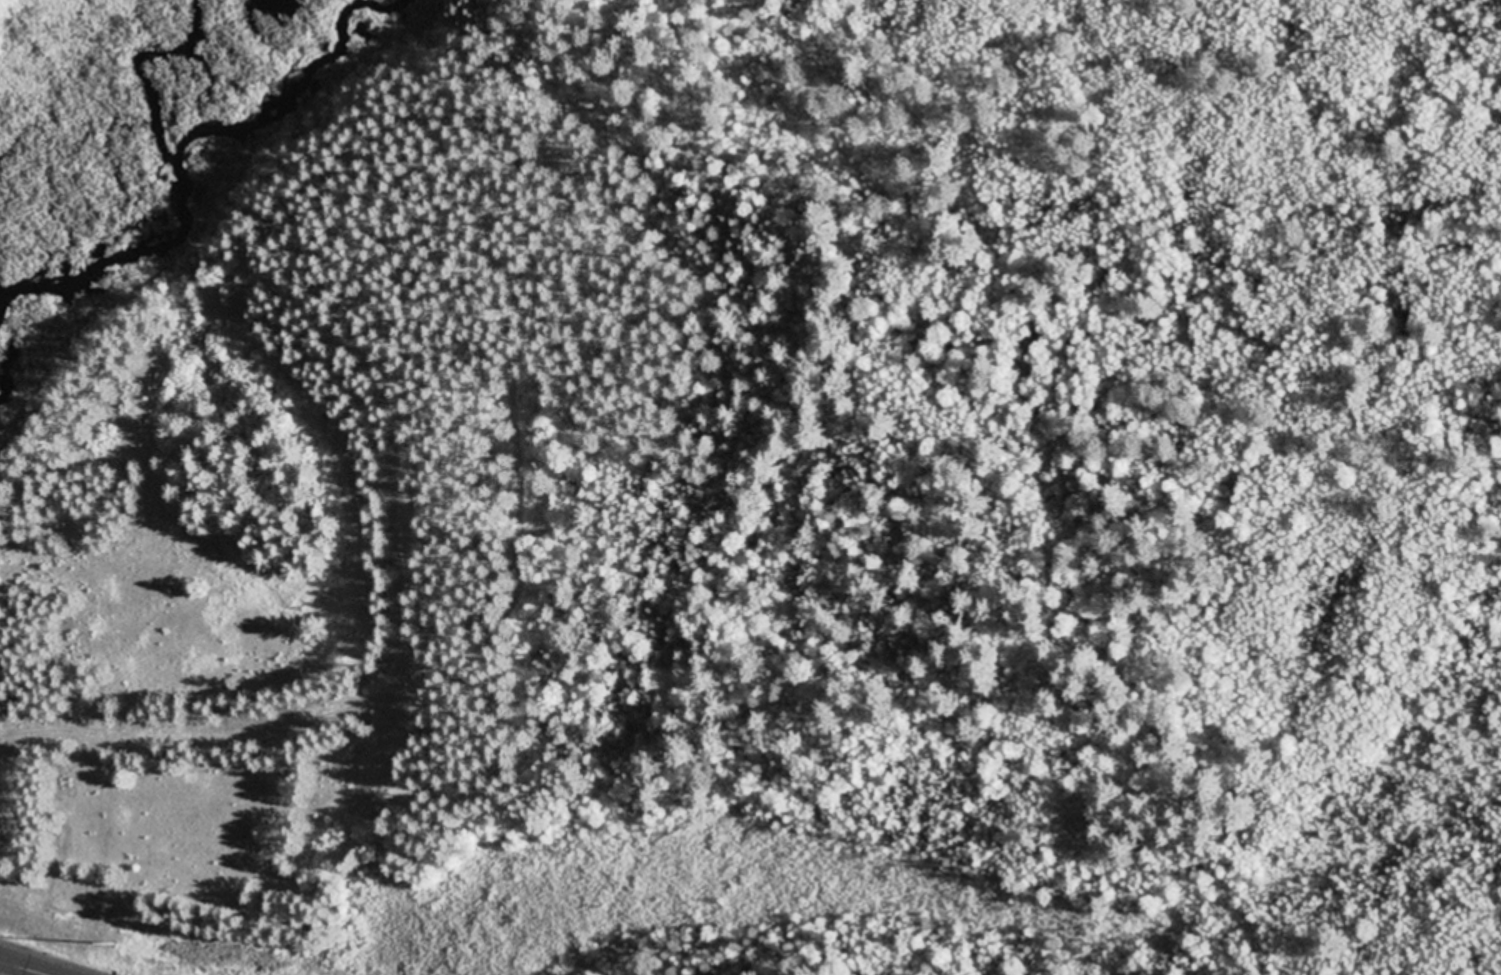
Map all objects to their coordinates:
road: (29, 966)

